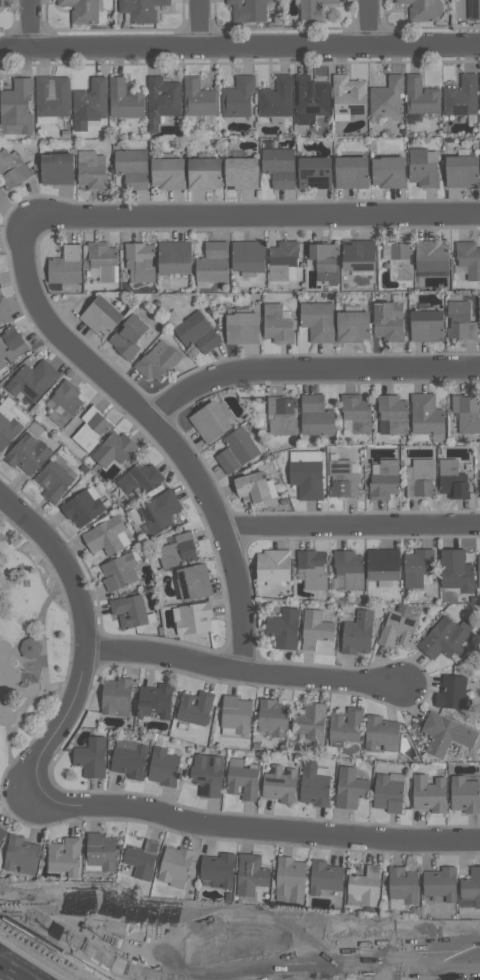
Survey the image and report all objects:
building: (272, 0)
building: (0, 3)
building: (473, 9)
building: (140, 10)
building: (248, 10)
building: (313, 10)
building: (422, 10)
building: (81, 11)
road: (202, 23)
road: (368, 23)
road: (31, 24)
road: (240, 46)
building: (479, 80)
building: (348, 95)
building: (386, 96)
building: (421, 96)
building: (461, 96)
building: (238, 97)
building: (51, 98)
building: (199, 98)
building: (276, 98)
building: (124, 99)
building: (310, 99)
building: (162, 100)
building: (91, 101)
building: (16, 107)
building: (279, 166)
building: (56, 168)
building: (132, 168)
building: (422, 169)
building: (11, 171)
building: (91, 171)
building: (388, 171)
building: (461, 171)
building: (351, 172)
building: (168, 173)
building: (204, 173)
building: (241, 173)
building: (314, 173)
building: (1, 193)
road: (247, 213)
building: (283, 254)
building: (358, 254)
building: (431, 255)
building: (174, 256)
building: (248, 256)
building: (469, 258)
building: (103, 260)
building: (398, 260)
building: (139, 262)
building: (213, 262)
building: (324, 262)
building: (65, 265)
building: (3, 311)
building: (101, 316)
building: (388, 320)
building: (318, 321)
building: (460, 321)
building: (276, 323)
building: (352, 326)
building: (426, 326)
building: (242, 328)
building: (197, 333)
building: (129, 336)
building: (11, 344)
building: (157, 361)
road: (309, 371)
building: (32, 380)
building: (64, 402)
building: (357, 412)
building: (393, 413)
building: (466, 413)
building: (426, 414)
building: (282, 415)
building: (315, 416)
building: (209, 422)
building: (91, 429)
building: (8, 430)
road: (163, 432)
building: (114, 449)
building: (237, 450)
building: (28, 453)
building: (56, 476)
building: (140, 478)
building: (306, 478)
building: (343, 478)
building: (421, 478)
building: (452, 479)
building: (384, 480)
building: (252, 488)
building: (479, 488)
building: (479, 494)
building: (82, 508)
building: (159, 511)
road: (350, 527)
building: (105, 535)
building: (177, 550)
building: (383, 564)
building: (273, 565)
building: (417, 567)
building: (349, 568)
building: (312, 569)
building: (118, 571)
building: (456, 571)
building: (478, 572)
building: (193, 582)
building: (129, 611)
building: (194, 618)
building: (316, 626)
building: (283, 628)
building: (397, 630)
building: (358, 633)
building: (443, 638)
park: (28, 645)
building: (30, 647)
road: (165, 656)
road: (81, 677)
road: (322, 678)
building: (452, 692)
building: (117, 696)
building: (155, 700)
building: (195, 707)
building: (235, 716)
building: (272, 717)
building: (310, 722)
building: (345, 724)
building: (379, 732)
building: (445, 734)
building: (91, 757)
building: (129, 759)
building: (163, 767)
building: (207, 774)
building: (242, 780)
building: (280, 784)
building: (315, 784)
building: (350, 788)
building: (388, 792)
building: (429, 793)
building: (464, 794)
building: (2, 833)
road: (297, 833)
building: (100, 851)
building: (19, 853)
building: (64, 857)
building: (140, 859)
building: (174, 866)
building: (217, 871)
building: (250, 874)
building: (289, 877)
building: (325, 877)
building: (440, 883)
building: (403, 884)
building: (365, 886)
building: (471, 886)
road: (457, 955)
road: (259, 958)
road: (42, 961)
road: (434, 968)
road: (10, 973)

